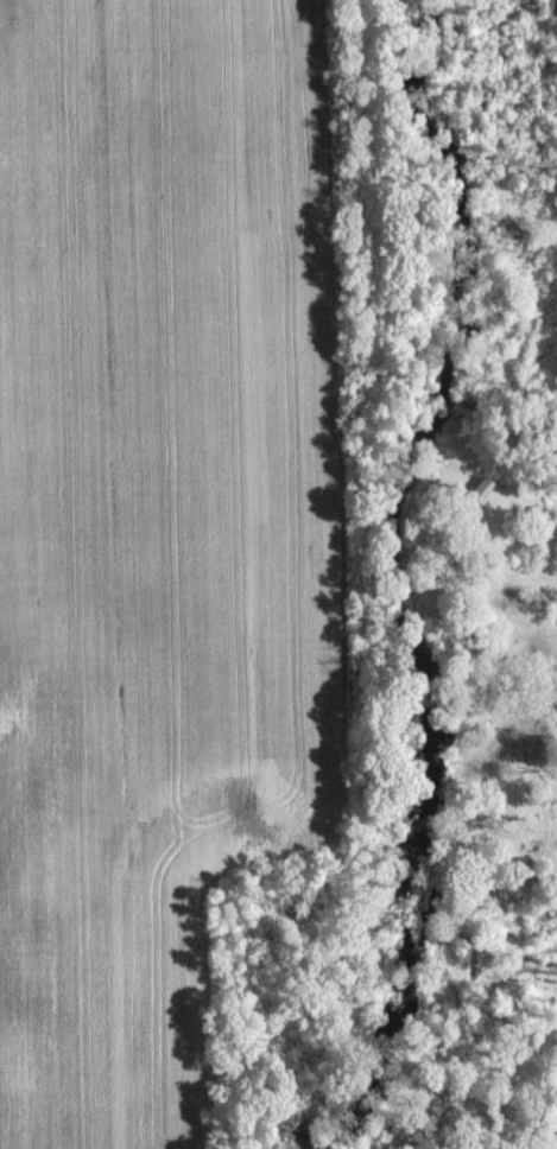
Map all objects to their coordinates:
building: (485, 488)

